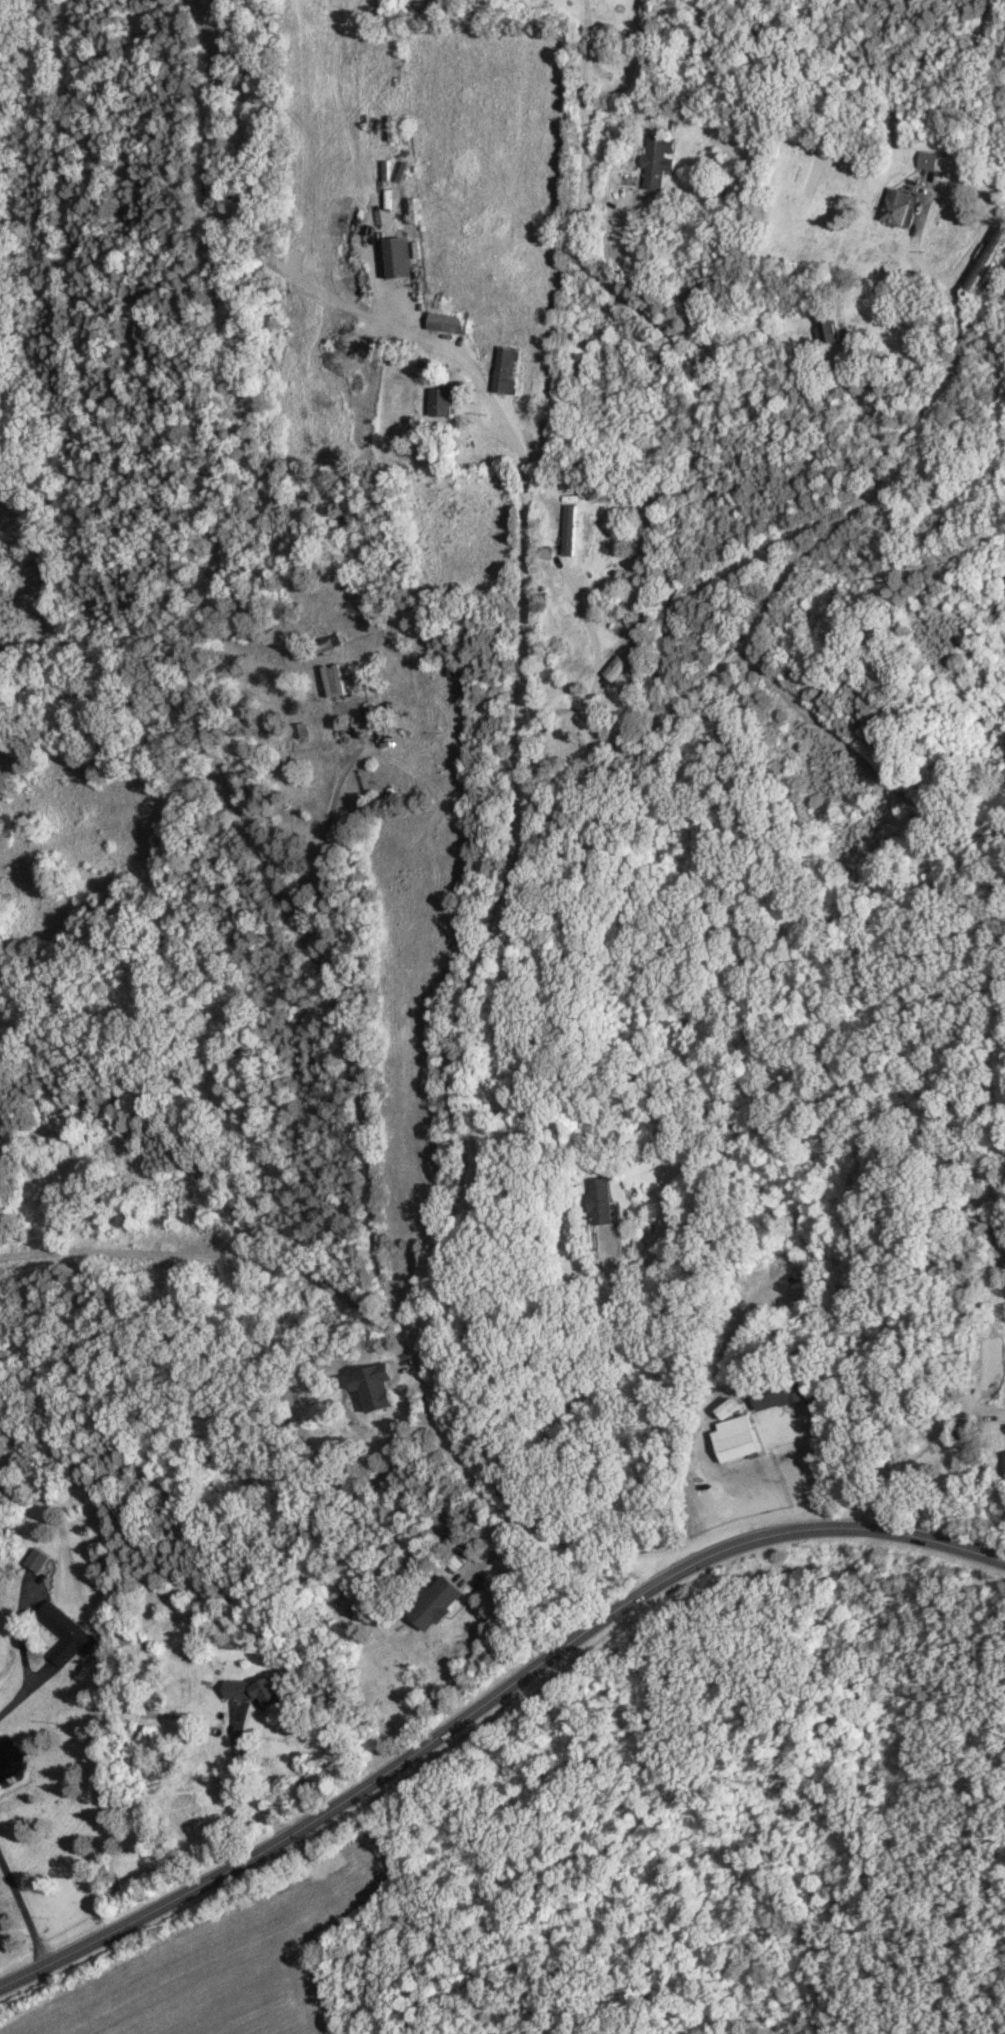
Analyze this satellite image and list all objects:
road: (581, 154)
building: (657, 159)
building: (933, 160)
building: (899, 205)
building: (398, 257)
building: (987, 259)
building: (448, 322)
building: (829, 330)
building: (506, 369)
building: (441, 402)
road: (865, 408)
road: (922, 417)
road: (696, 448)
building: (569, 529)
road: (522, 567)
building: (614, 667)
building: (353, 678)
road: (596, 679)
road: (324, 824)
road: (323, 981)
road: (603, 1120)
road: (464, 1181)
building: (600, 1200)
building: (373, 1386)
building: (779, 1395)
building: (730, 1408)
building: (737, 1438)
road: (920, 1448)
road: (709, 1501)
building: (36, 1559)
building: (436, 1603)
building: (63, 1634)
building: (256, 1691)
road: (21, 1693)
road: (488, 1699)
road: (243, 1778)
road: (21, 1910)
building: (0, 1932)

